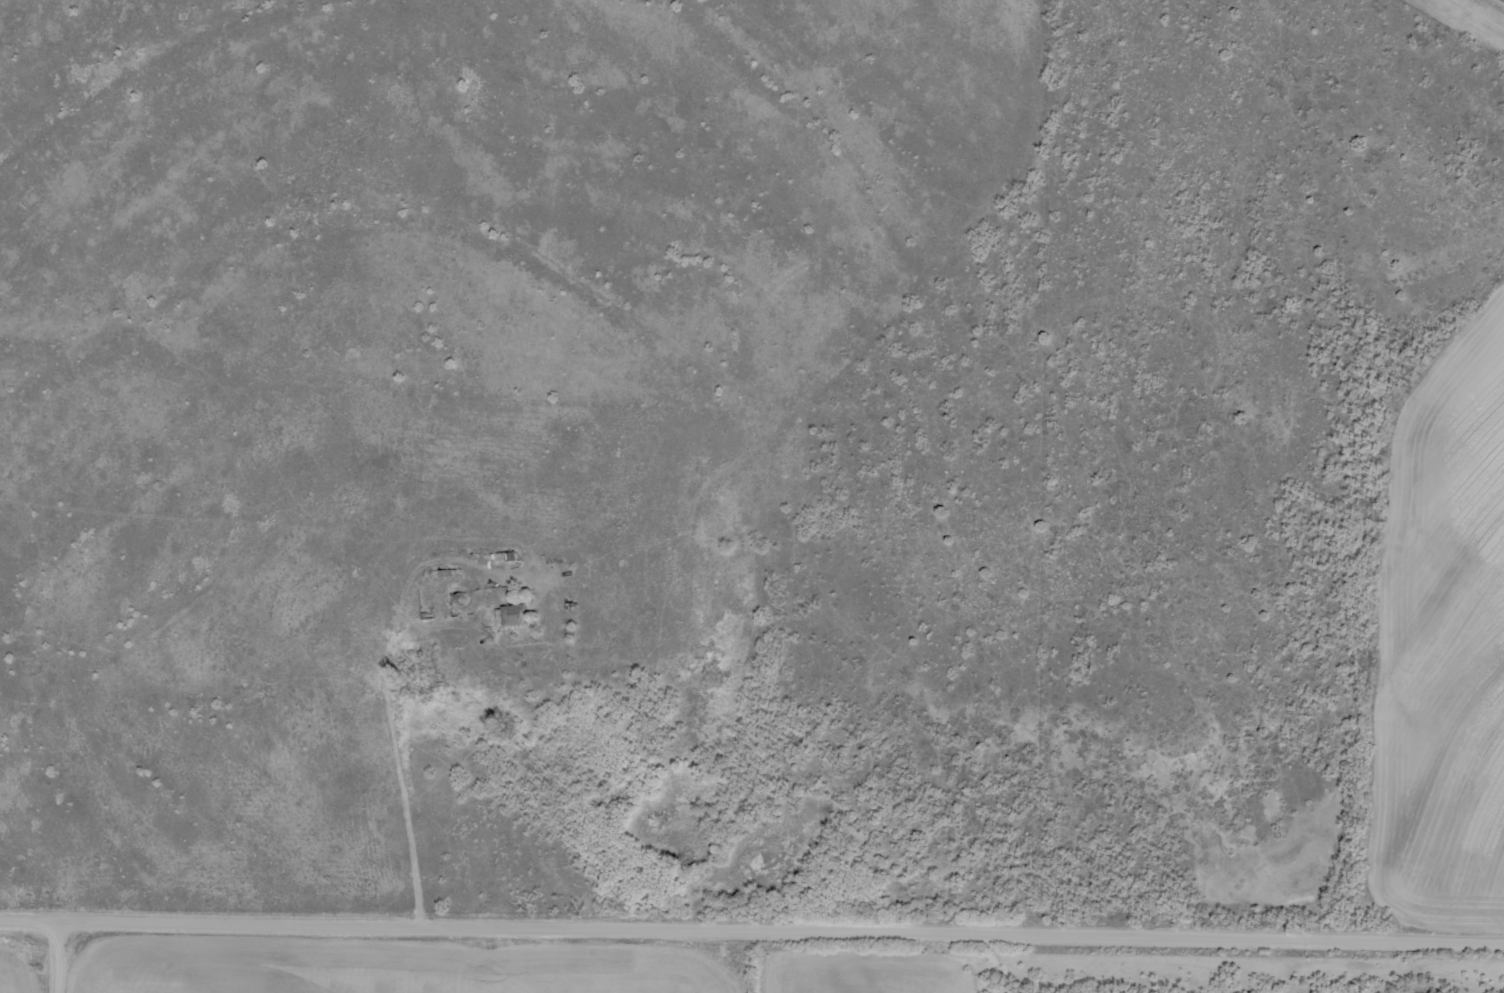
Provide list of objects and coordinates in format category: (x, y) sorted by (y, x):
road: (522, 480)
road: (752, 931)
road: (61, 957)
road: (898, 961)

